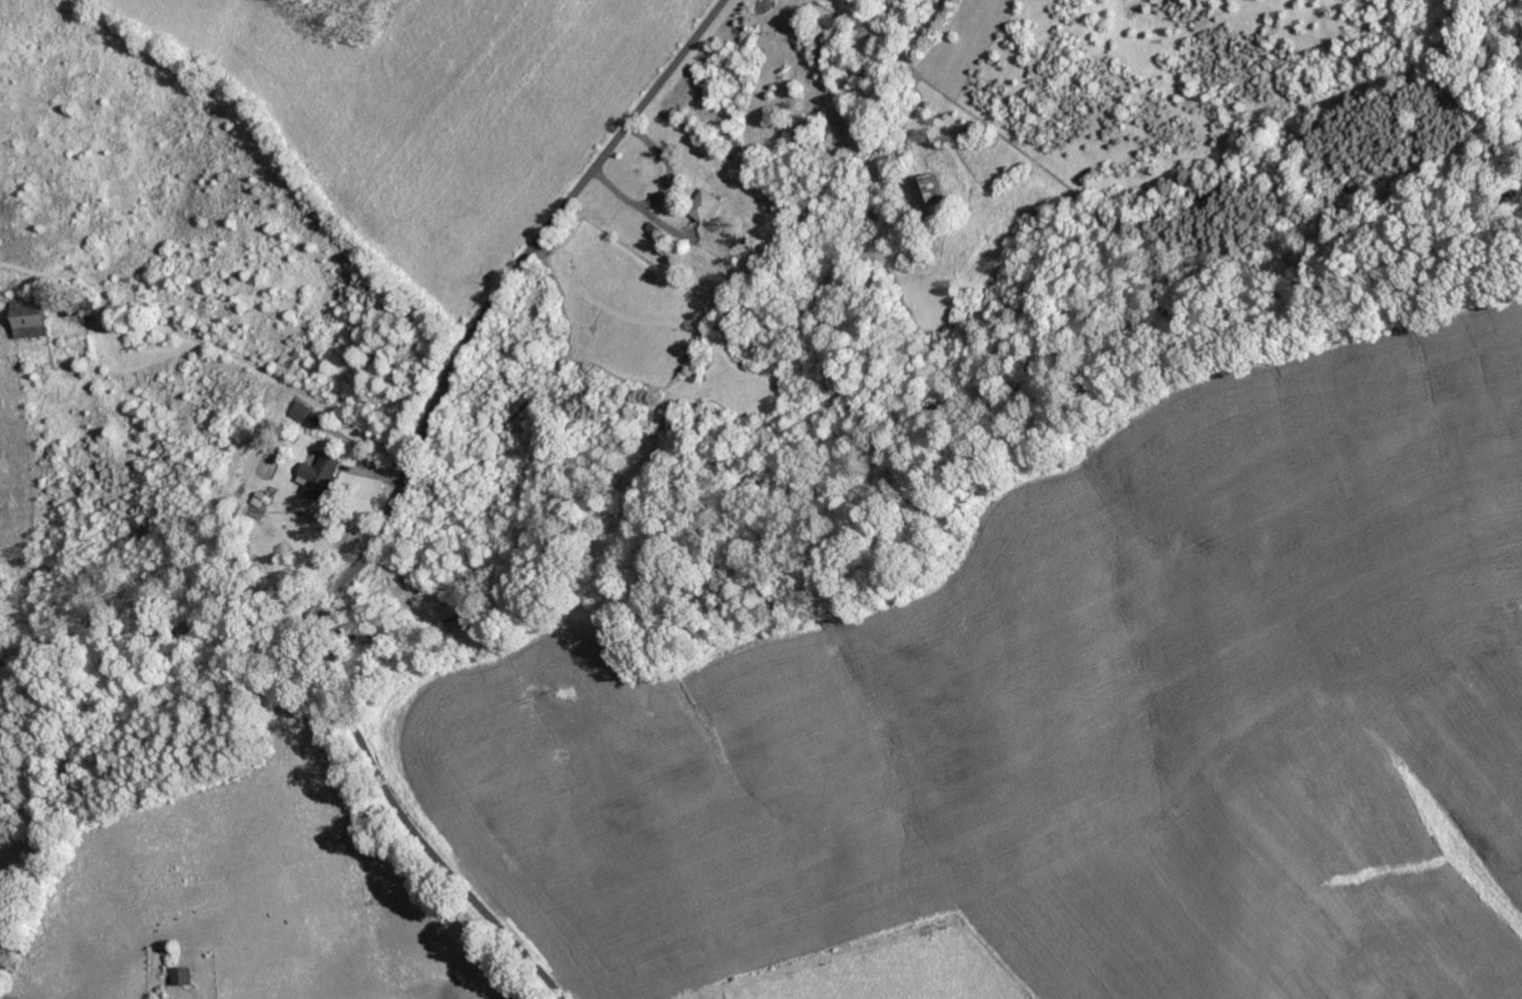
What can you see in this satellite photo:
building: (929, 188)
building: (710, 205)
building: (36, 319)
building: (300, 411)
building: (322, 474)
road: (395, 505)
building: (185, 975)

